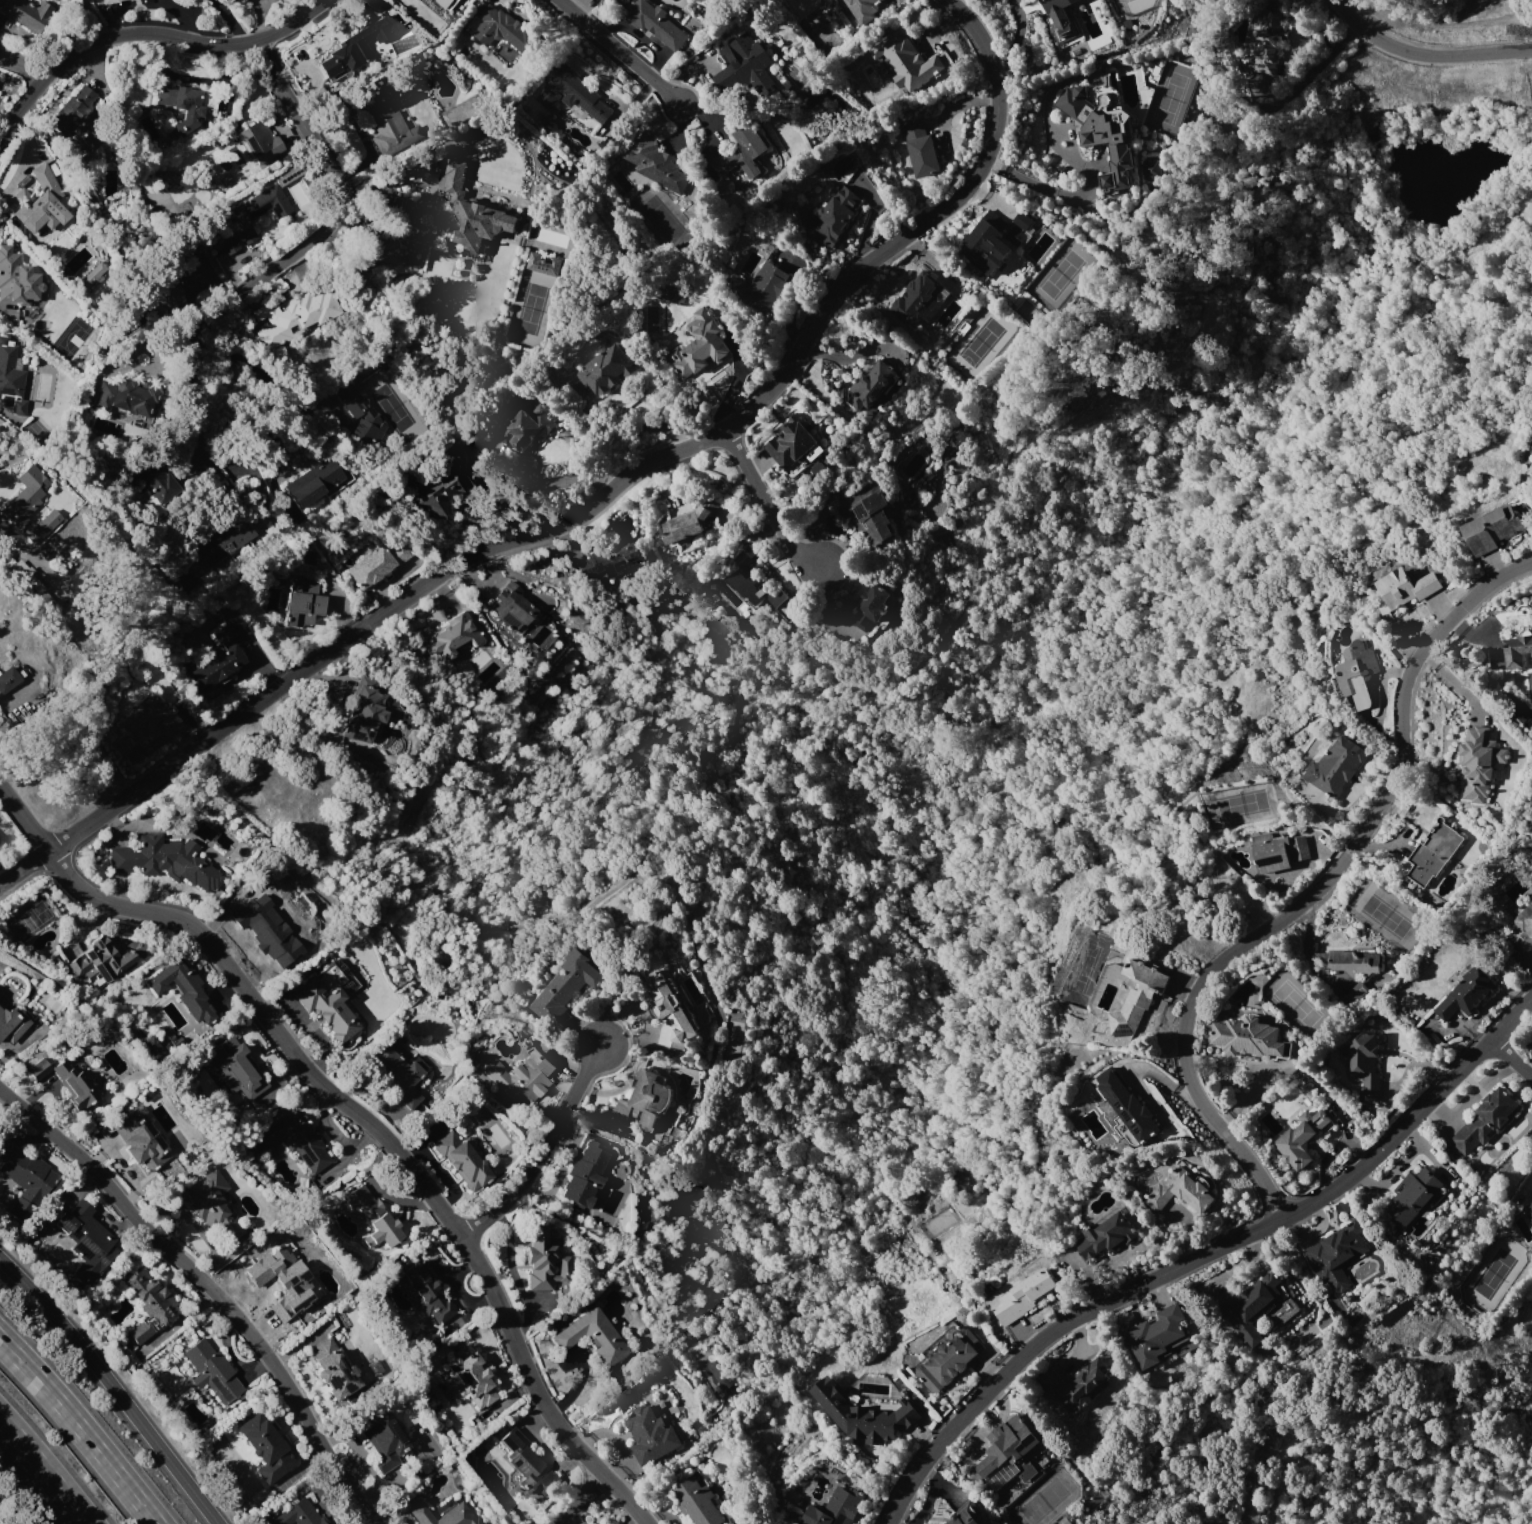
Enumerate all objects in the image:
building: (446, 1)
building: (111, 2)
building: (241, 2)
building: (374, 3)
building: (860, 7)
building: (26, 13)
road: (90, 19)
road: (231, 20)
building: (1058, 20)
building: (658, 23)
building: (504, 29)
road: (148, 32)
building: (372, 35)
building: (1268, 41)
road: (621, 53)
road: (1426, 54)
building: (910, 60)
building: (338, 63)
building: (421, 63)
road: (20, 68)
building: (745, 68)
building: (574, 93)
building: (814, 94)
building: (186, 105)
building: (75, 107)
building: (380, 114)
building: (549, 124)
building: (1102, 127)
building: (259, 142)
building: (921, 148)
building: (741, 154)
building: (655, 161)
building: (1151, 169)
road: (1061, 193)
building: (39, 202)
building: (473, 214)
building: (835, 215)
building: (252, 216)
building: (1021, 220)
road: (377, 236)
building: (990, 243)
road: (292, 254)
building: (544, 264)
building: (93, 276)
building: (16, 279)
building: (763, 287)
building: (159, 296)
building: (918, 297)
building: (289, 322)
building: (701, 345)
building: (606, 370)
building: (10, 379)
road: (732, 379)
building: (875, 387)
building: (125, 397)
building: (359, 416)
building: (525, 428)
building: (793, 443)
road: (560, 479)
building: (318, 480)
building: (446, 481)
building: (151, 484)
road: (591, 501)
building: (21, 504)
road: (767, 504)
building: (868, 514)
building: (689, 521)
building: (41, 526)
building: (1495, 528)
building: (223, 541)
building: (610, 561)
building: (376, 563)
building: (754, 580)
building: (1405, 587)
building: (302, 603)
building: (511, 607)
building: (875, 608)
building: (451, 636)
building: (1517, 649)
building: (219, 659)
building: (1356, 674)
building: (8, 679)
building: (363, 711)
building: (141, 720)
building: (1477, 764)
building: (1336, 766)
building: (1280, 853)
building: (1432, 853)
building: (165, 861)
road: (1314, 893)
building: (1522, 927)
building: (268, 936)
building: (1353, 961)
building: (99, 962)
building: (564, 985)
building: (183, 990)
building: (1467, 994)
building: (329, 998)
building: (1137, 999)
building: (669, 1012)
building: (11, 1023)
building: (1250, 1038)
building: (151, 1047)
road: (1512, 1056)
building: (1364, 1063)
building: (236, 1067)
building: (394, 1075)
building: (521, 1076)
building: (65, 1081)
building: (646, 1099)
building: (1126, 1108)
road: (358, 1115)
building: (1487, 1120)
building: (1303, 1137)
building: (140, 1139)
building: (296, 1141)
road: (544, 1148)
building: (461, 1159)
building: (590, 1170)
building: (24, 1178)
building: (1180, 1191)
building: (1412, 1196)
building: (212, 1208)
building: (1528, 1210)
building: (373, 1218)
building: (1106, 1235)
building: (86, 1240)
building: (1336, 1254)
road: (1203, 1256)
building: (543, 1261)
building: (285, 1279)
road: (209, 1291)
building: (427, 1293)
building: (1025, 1295)
building: (149, 1306)
building: (1251, 1307)
building: (591, 1336)
building: (1160, 1337)
building: (949, 1359)
building: (334, 1369)
building: (211, 1371)
building: (469, 1377)
building: (726, 1383)
building: (1075, 1385)
road: (113, 1388)
building: (864, 1415)
road: (80, 1429)
building: (651, 1435)
building: (381, 1439)
building: (264, 1448)
building: (1006, 1451)
building: (527, 1463)
road: (44, 1470)
road: (579, 1499)
building: (697, 1502)
building: (836, 1508)
building: (298, 1514)
building: (444, 1515)
building: (965, 1516)
park: (2, 1520)
building: (489, 1523)

